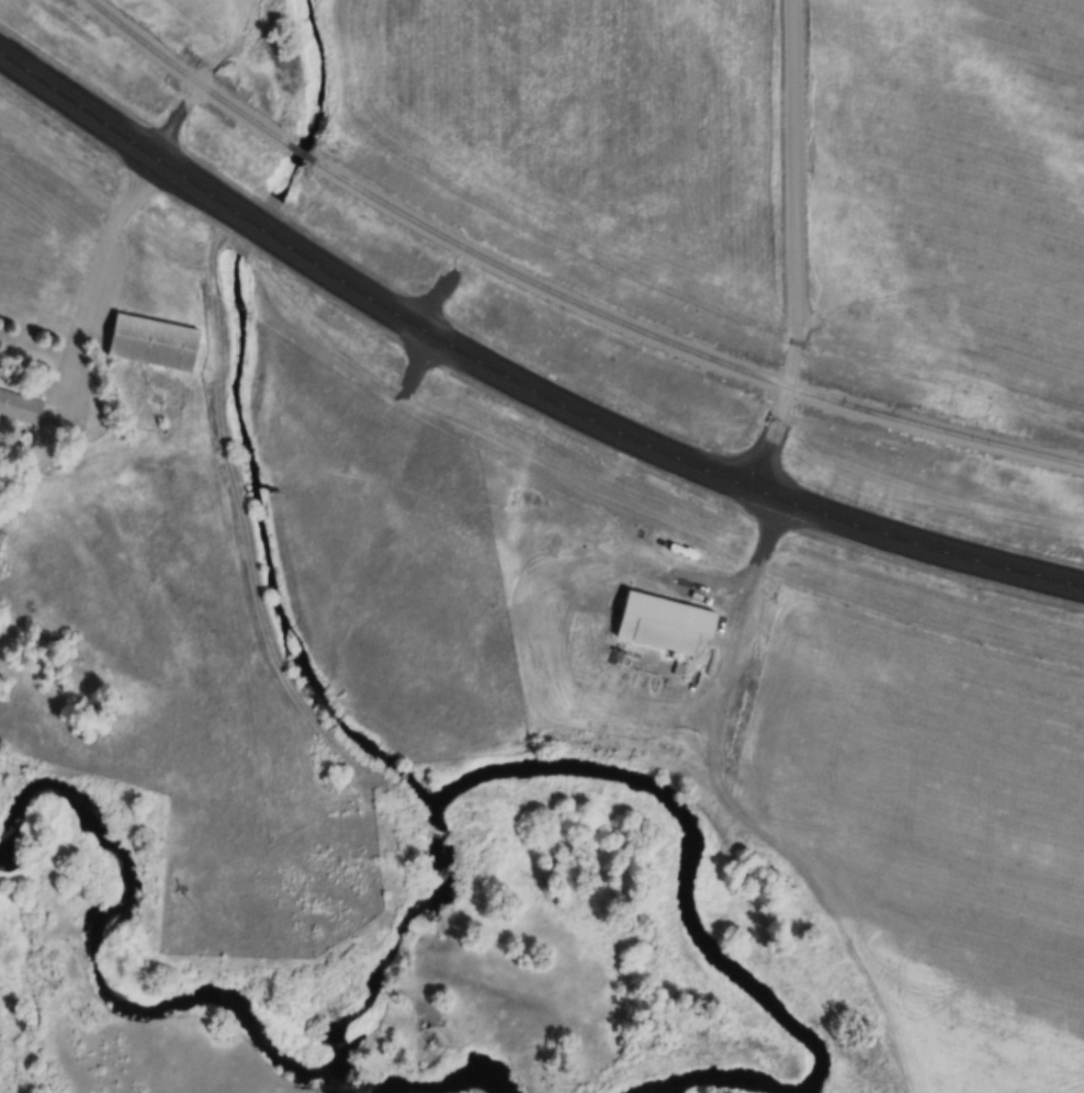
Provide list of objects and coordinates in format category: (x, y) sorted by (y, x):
railway: (183, 72)
road: (189, 95)
railway: (298, 151)
road: (794, 247)
road: (88, 279)
building: (149, 342)
railway: (685, 349)
road: (517, 371)
building: (18, 403)
building: (669, 622)
road: (734, 816)
river: (455, 1077)

